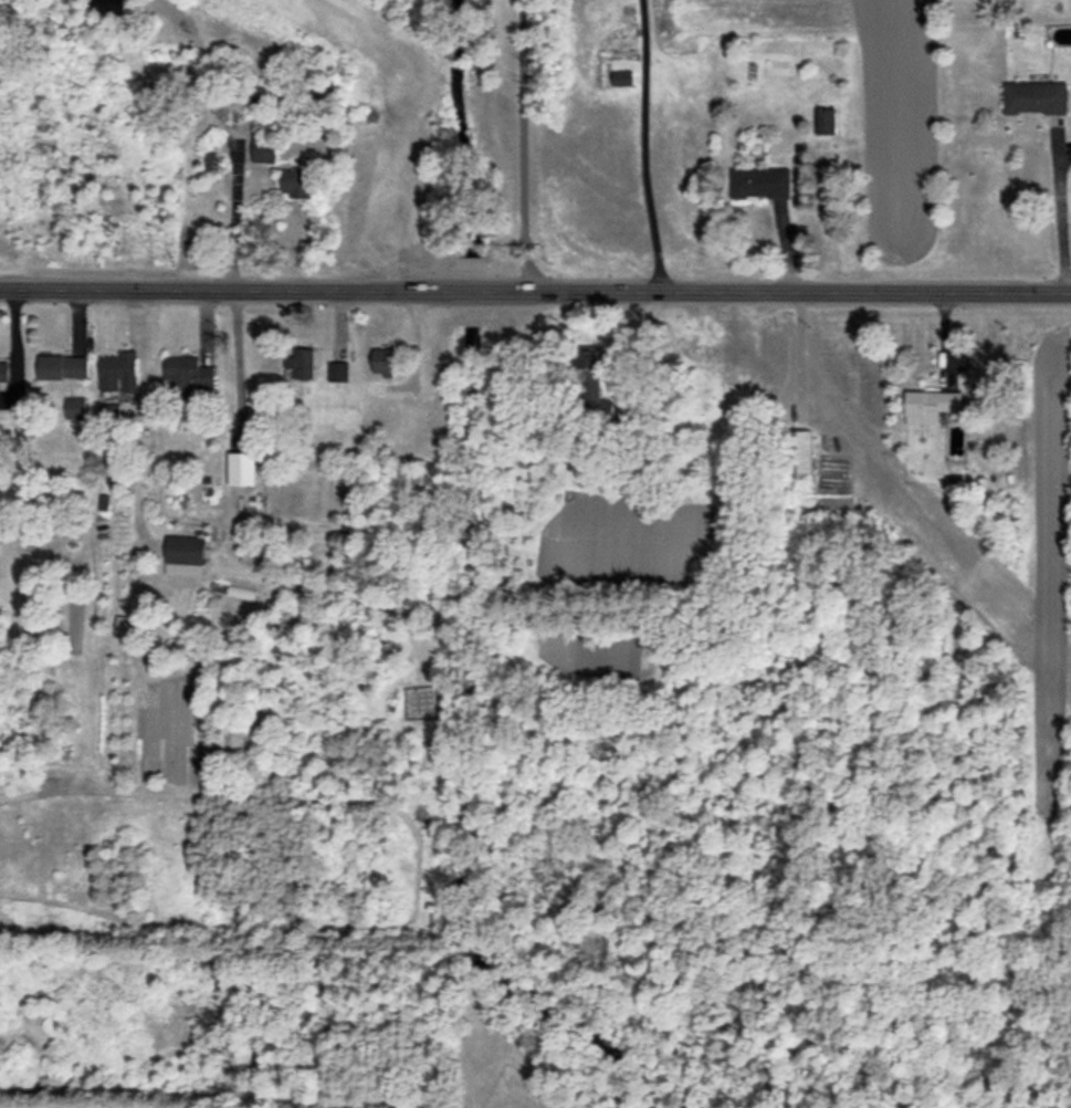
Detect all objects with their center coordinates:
building: (109, 10)
building: (621, 77)
building: (1035, 96)
crop: (865, 101)
building: (825, 122)
road: (225, 130)
road: (525, 146)
road: (643, 147)
building: (263, 149)
building: (759, 181)
building: (296, 182)
road: (1061, 213)
road: (535, 293)
building: (382, 360)
building: (301, 362)
building: (62, 366)
building: (3, 370)
building: (337, 370)
building: (117, 372)
building: (186, 375)
building: (594, 387)
building: (375, 388)
building: (930, 406)
building: (75, 407)
building: (111, 411)
building: (797, 452)
building: (183, 555)

